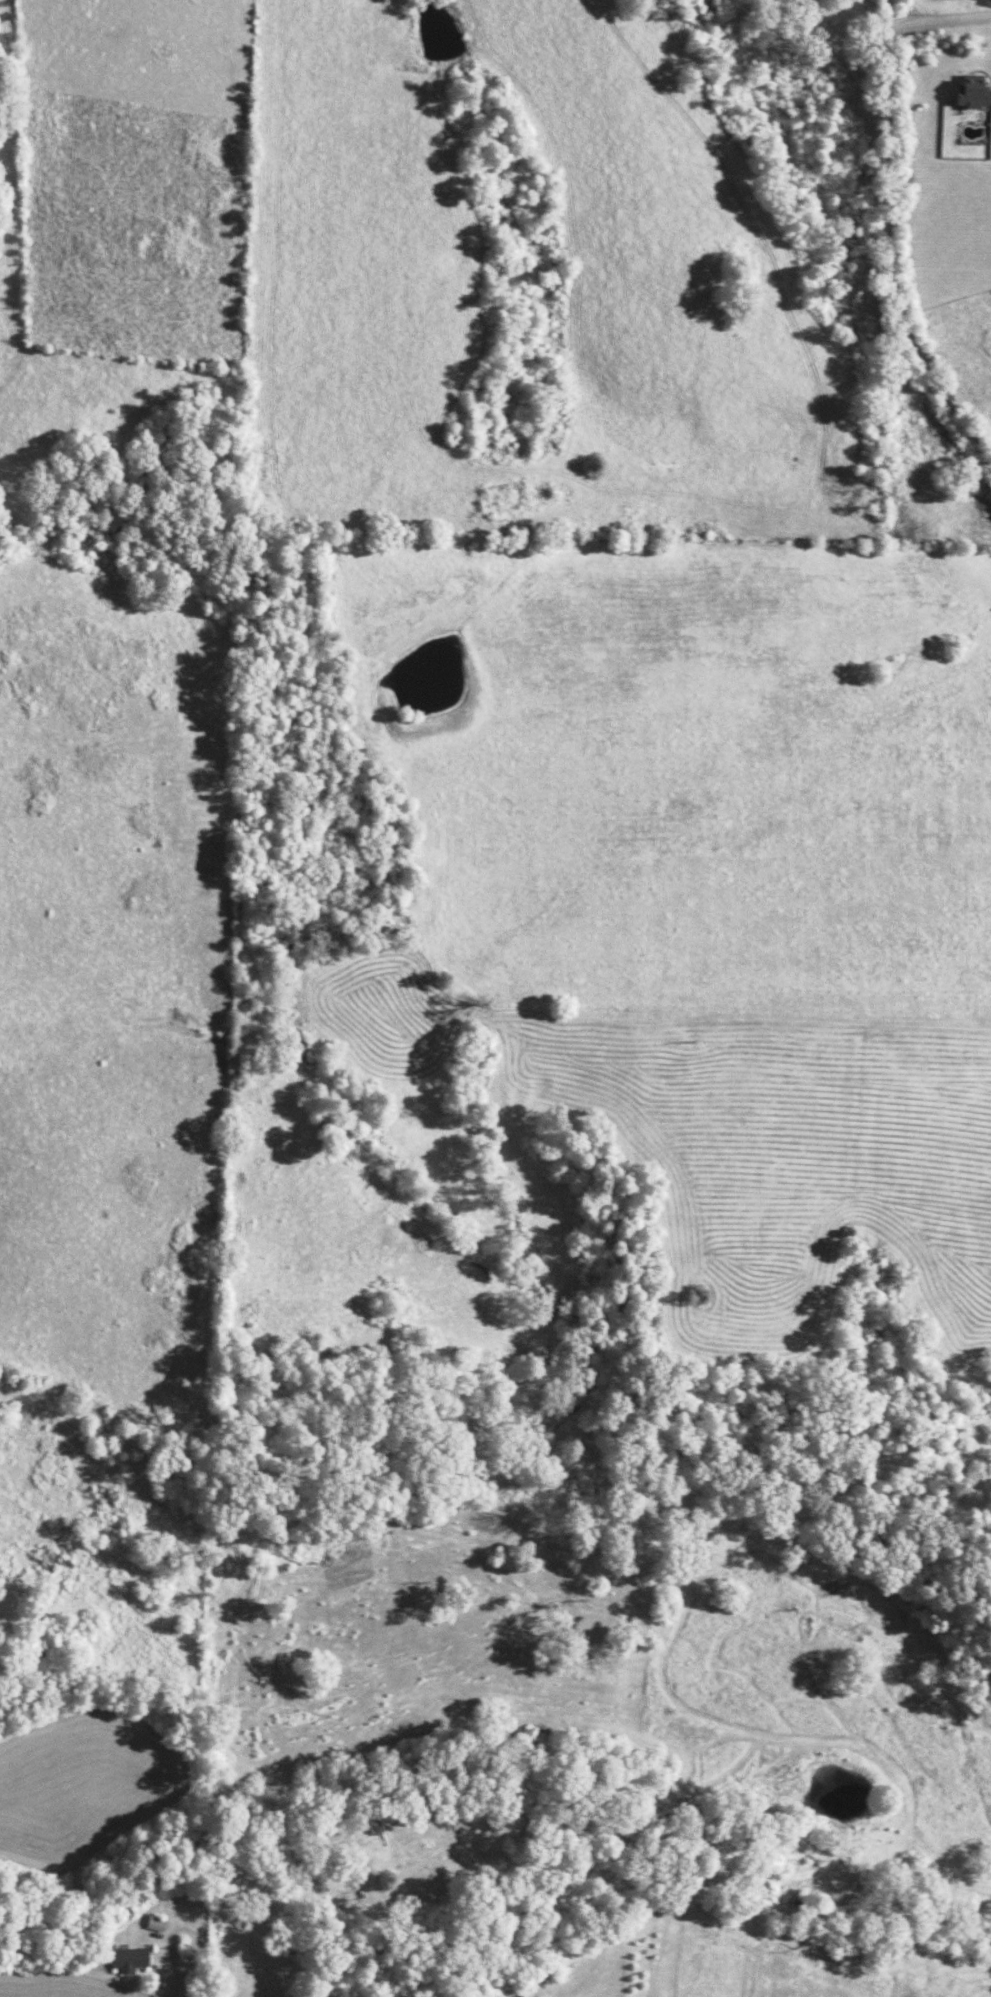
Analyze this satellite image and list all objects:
road: (939, 20)
building: (972, 94)
road: (886, 247)
building: (155, 1923)
road: (182, 1929)
building: (127, 1959)
road: (178, 1990)

